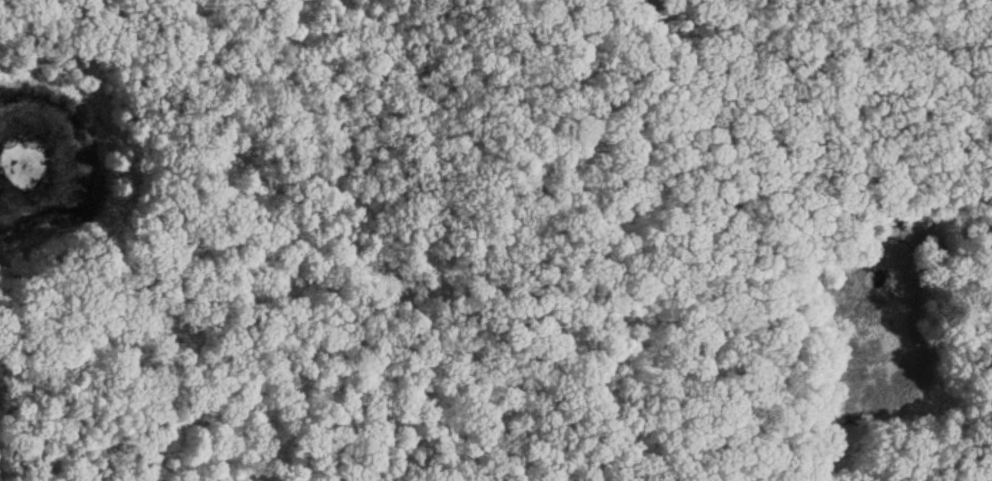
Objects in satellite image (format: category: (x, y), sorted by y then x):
road: (819, 53)

